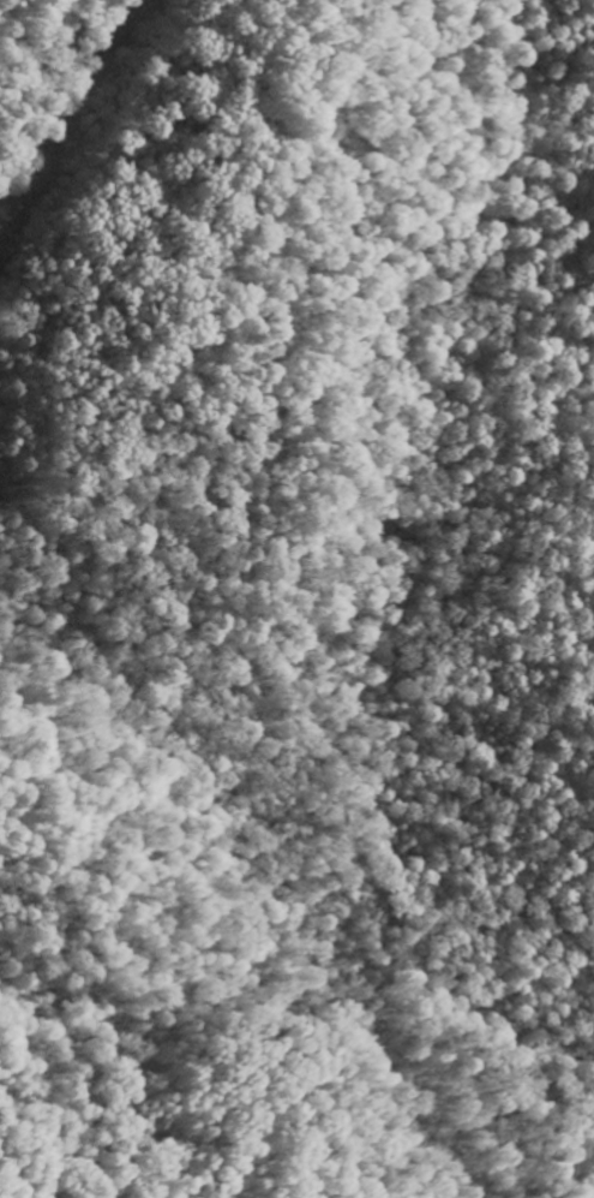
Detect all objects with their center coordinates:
road: (1, 17)

